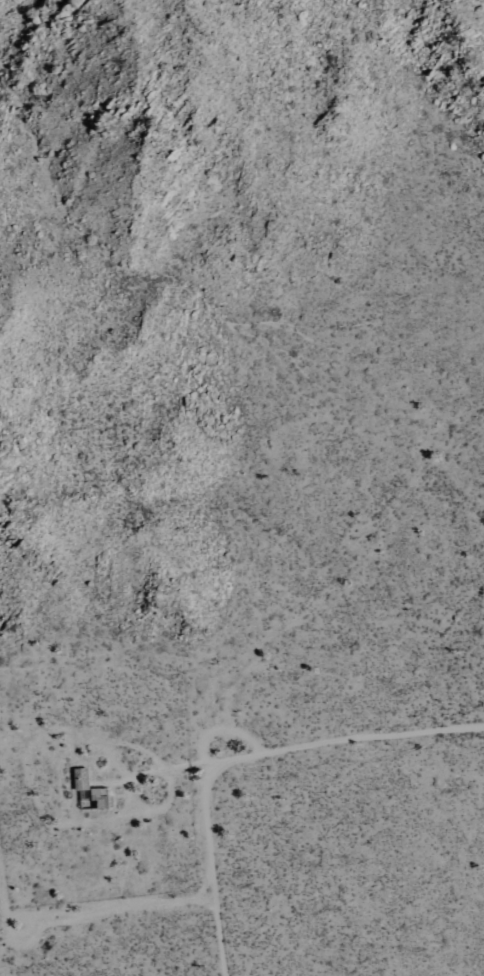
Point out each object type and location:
road: (247, 760)
building: (81, 779)
building: (101, 797)

